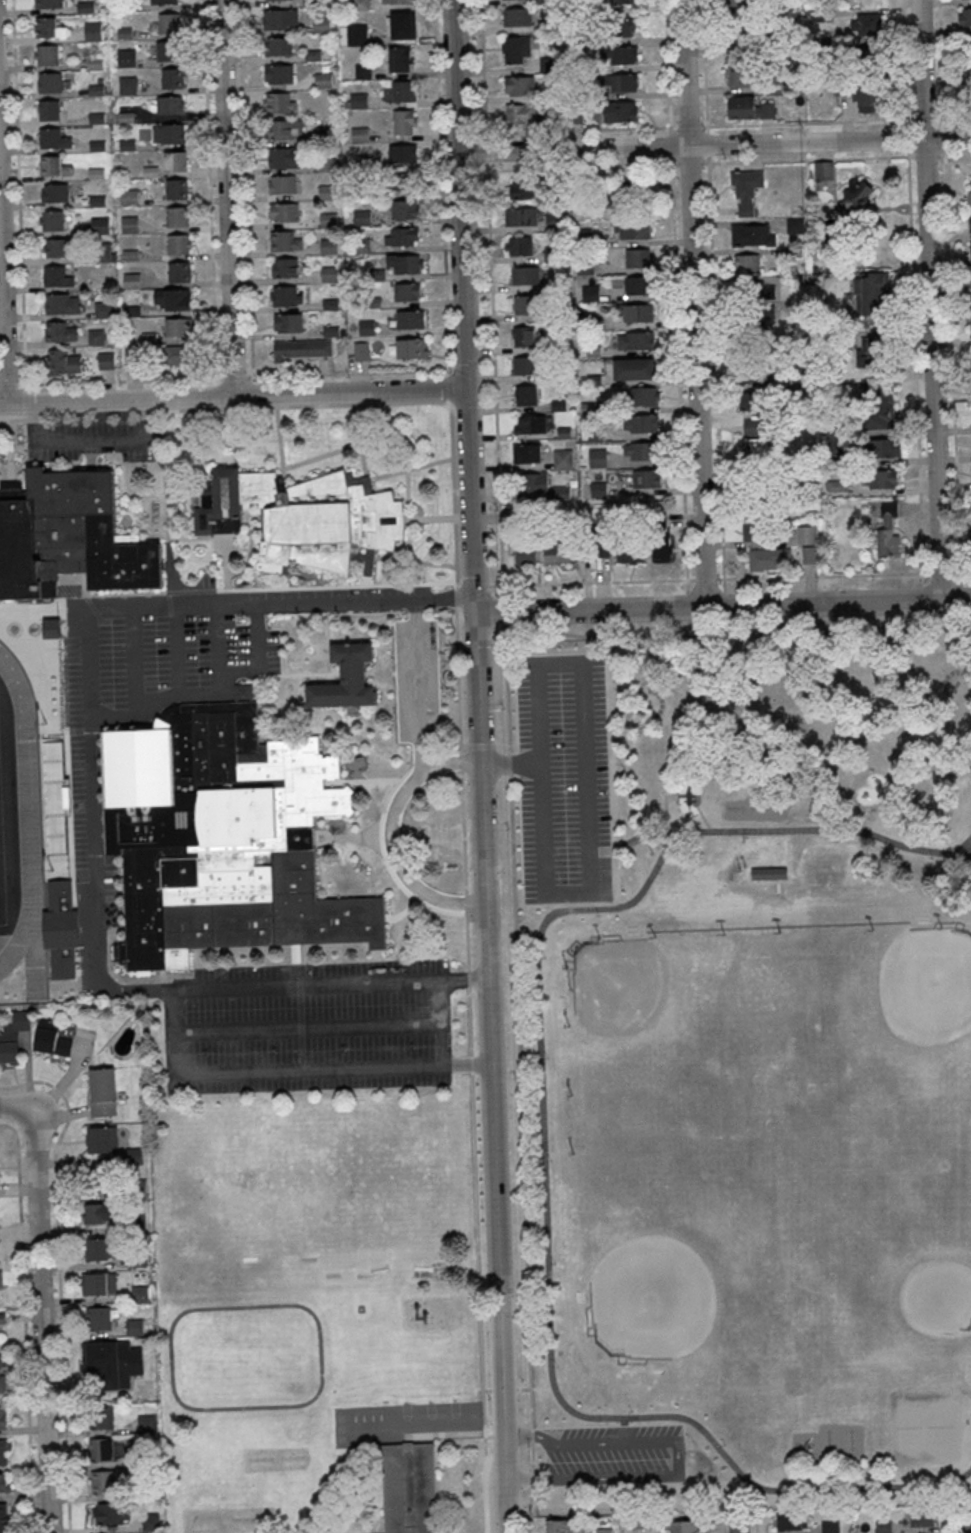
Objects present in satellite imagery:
building: (164, 1)
building: (398, 1)
building: (543, 1)
building: (620, 1)
building: (740, 2)
building: (48, 3)
building: (772, 5)
building: (85, 6)
building: (817, 15)
building: (517, 16)
building: (966, 16)
building: (280, 19)
building: (169, 22)
building: (866, 23)
building: (402, 24)
building: (48, 27)
building: (624, 27)
building: (93, 31)
building: (357, 35)
building: (738, 35)
building: (278, 46)
building: (516, 49)
building: (165, 50)
building: (46, 54)
building: (626, 54)
building: (126, 57)
building: (401, 59)
road: (668, 63)
road: (482, 69)
building: (740, 72)
building: (279, 73)
building: (172, 78)
building: (323, 79)
building: (50, 81)
building: (968, 81)
building: (624, 82)
building: (127, 85)
building: (519, 85)
building: (403, 90)
building: (862, 92)
building: (279, 102)
building: (169, 105)
building: (749, 108)
building: (49, 110)
building: (619, 111)
building: (521, 113)
building: (406, 121)
road: (728, 124)
building: (285, 128)
building: (168, 133)
building: (359, 134)
building: (53, 138)
road: (715, 145)
road: (485, 150)
building: (403, 152)
building: (284, 157)
road: (822, 159)
building: (175, 160)
building: (52, 165)
road: (579, 167)
building: (824, 170)
building: (404, 181)
building: (282, 183)
road: (441, 186)
building: (176, 188)
road: (208, 188)
road: (245, 188)
building: (522, 190)
building: (746, 190)
building: (54, 192)
building: (969, 193)
road: (17, 194)
building: (129, 197)
road: (226, 197)
building: (858, 197)
building: (404, 209)
building: (284, 211)
building: (177, 215)
building: (521, 216)
building: (51, 220)
building: (554, 220)
building: (970, 223)
building: (129, 224)
building: (100, 225)
building: (795, 225)
building: (632, 229)
building: (753, 234)
building: (401, 236)
building: (284, 240)
building: (179, 243)
building: (519, 245)
building: (328, 246)
building: (56, 247)
building: (103, 251)
building: (970, 251)
building: (638, 257)
building: (747, 262)
building: (406, 264)
building: (284, 267)
building: (179, 271)
building: (329, 273)
building: (525, 274)
building: (56, 276)
building: (970, 278)
building: (132, 280)
building: (637, 285)
building: (407, 291)
building: (755, 293)
building: (870, 293)
building: (286, 295)
building: (172, 298)
road: (929, 300)
building: (62, 303)
building: (523, 304)
road: (693, 304)
building: (103, 309)
road: (949, 311)
building: (638, 312)
road: (913, 312)
road: (713, 315)
road: (2, 319)
building: (410, 319)
building: (288, 322)
building: (178, 327)
building: (60, 330)
building: (523, 335)
building: (95, 336)
building: (636, 340)
building: (412, 347)
building: (303, 349)
building: (361, 351)
building: (871, 351)
building: (176, 355)
building: (64, 360)
building: (106, 360)
building: (523, 365)
building: (635, 368)
road: (350, 372)
building: (755, 372)
road: (467, 373)
road: (233, 376)
road: (488, 379)
road: (679, 379)
road: (119, 380)
road: (495, 380)
road: (9, 384)
road: (449, 387)
building: (526, 394)
road: (233, 395)
building: (643, 395)
building: (751, 400)
road: (24, 401)
road: (329, 404)
road: (450, 405)
building: (880, 406)
road: (4, 418)
road: (18, 418)
road: (33, 419)
building: (530, 423)
building: (641, 423)
building: (754, 426)
road: (108, 439)
road: (359, 439)
road: (8, 446)
building: (885, 447)
road: (32, 448)
building: (755, 448)
building: (639, 450)
building: (527, 453)
building: (597, 458)
building: (563, 459)
road: (19, 465)
road: (291, 467)
road: (412, 468)
road: (6, 472)
building: (646, 478)
building: (880, 478)
road: (367, 479)
building: (536, 483)
building: (766, 486)
building: (598, 489)
building: (305, 517)
road: (429, 519)
road: (408, 527)
building: (887, 528)
building: (754, 529)
building: (806, 534)
building: (68, 536)
road: (222, 537)
building: (601, 548)
building: (661, 549)
building: (631, 552)
building: (526, 553)
road: (249, 554)
building: (557, 554)
building: (810, 554)
building: (366, 558)
building: (767, 558)
road: (414, 562)
road: (368, 563)
road: (962, 571)
road: (941, 572)
road: (823, 575)
road: (705, 578)
road: (366, 580)
road: (168, 581)
road: (591, 582)
road: (475, 585)
road: (338, 586)
road: (455, 586)
road: (190, 591)
road: (127, 594)
parking lot: (341, 595)
road: (89, 596)
road: (187, 596)
road: (455, 598)
road: (169, 604)
road: (723, 607)
road: (91, 608)
road: (503, 612)
road: (93, 620)
road: (101, 622)
road: (738, 630)
road: (258, 636)
road: (215, 640)
road: (173, 651)
road: (131, 663)
building: (346, 677)
road: (458, 680)
parking lot: (417, 681)
road: (419, 687)
road: (506, 689)
road: (181, 695)
road: (481, 746)
road: (502, 746)
road: (465, 747)
road: (451, 753)
road: (427, 762)
road: (461, 762)
road: (509, 763)
road: (511, 763)
road: (482, 766)
parking lot: (563, 780)
parking lot: (79, 787)
road: (93, 796)
road: (665, 812)
road: (704, 821)
road: (864, 822)
road: (464, 832)
flagpole: (421, 834)
road: (392, 835)
building: (223, 837)
road: (633, 840)
track: (26, 842)
road: (962, 845)
parking lot: (390, 848)
road: (387, 860)
building: (767, 872)
park: (2, 875)
road: (786, 879)
road: (777, 887)
road: (590, 897)
road: (466, 902)
road: (554, 904)
road: (467, 940)
road: (468, 979)
park: (892, 1008)
road: (470, 1021)
park: (657, 1022)
road: (442, 1023)
road: (307, 1027)
road: (301, 1028)
parking lot: (306, 1029)
building: (13, 1036)
building: (52, 1038)
road: (472, 1064)
park: (747, 1068)
road: (290, 1071)
building: (102, 1091)
road: (520, 1099)
road: (18, 1112)
building: (102, 1139)
park: (311, 1146)
road: (543, 1151)
building: (134, 1155)
park: (313, 1168)
building: (100, 1215)
building: (103, 1250)
park: (895, 1253)
park: (682, 1277)
building: (1, 1278)
road: (59, 1278)
building: (102, 1284)
building: (0, 1288)
building: (139, 1293)
road: (479, 1303)
building: (2, 1319)
building: (102, 1319)
road: (24, 1322)
road: (41, 1329)
building: (103, 1354)
building: (1, 1370)
road: (418, 1377)
road: (535, 1388)
road: (503, 1389)
road: (479, 1391)
road: (299, 1404)
building: (2, 1416)
building: (101, 1417)
building: (147, 1424)
park: (928, 1429)
road: (531, 1434)
road: (382, 1439)
road: (321, 1445)
building: (102, 1450)
building: (3, 1452)
parking lot: (611, 1453)
road: (676, 1456)
building: (103, 1482)
building: (4, 1483)
road: (533, 1487)
building: (409, 1489)
road: (756, 1498)
road: (258, 1502)
building: (110, 1514)
building: (923, 1515)
building: (3, 1517)
road: (957, 1518)
building: (792, 1520)
building: (150, 1521)
road: (720, 1521)
road: (756, 1521)
road: (737, 1523)
building: (683, 1526)
building: (557, 1527)
building: (884, 1527)
road: (252, 1531)
building: (604, 1531)

